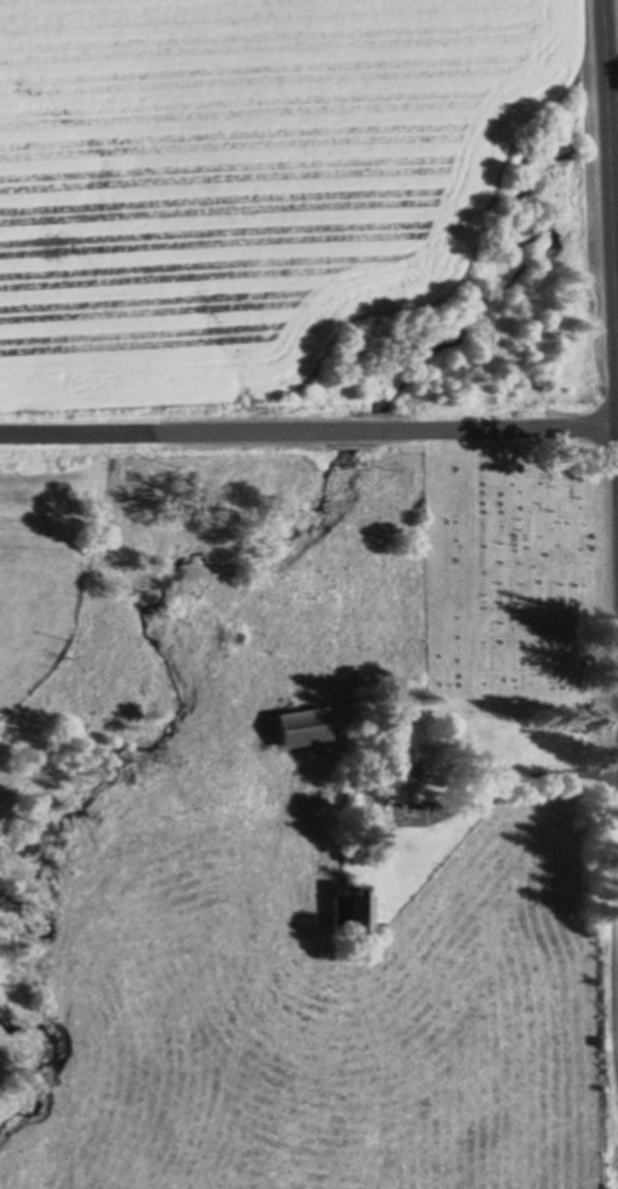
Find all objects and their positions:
road: (608, 166)
road: (308, 426)
building: (297, 729)
building: (416, 764)
road: (505, 777)
building: (351, 897)

